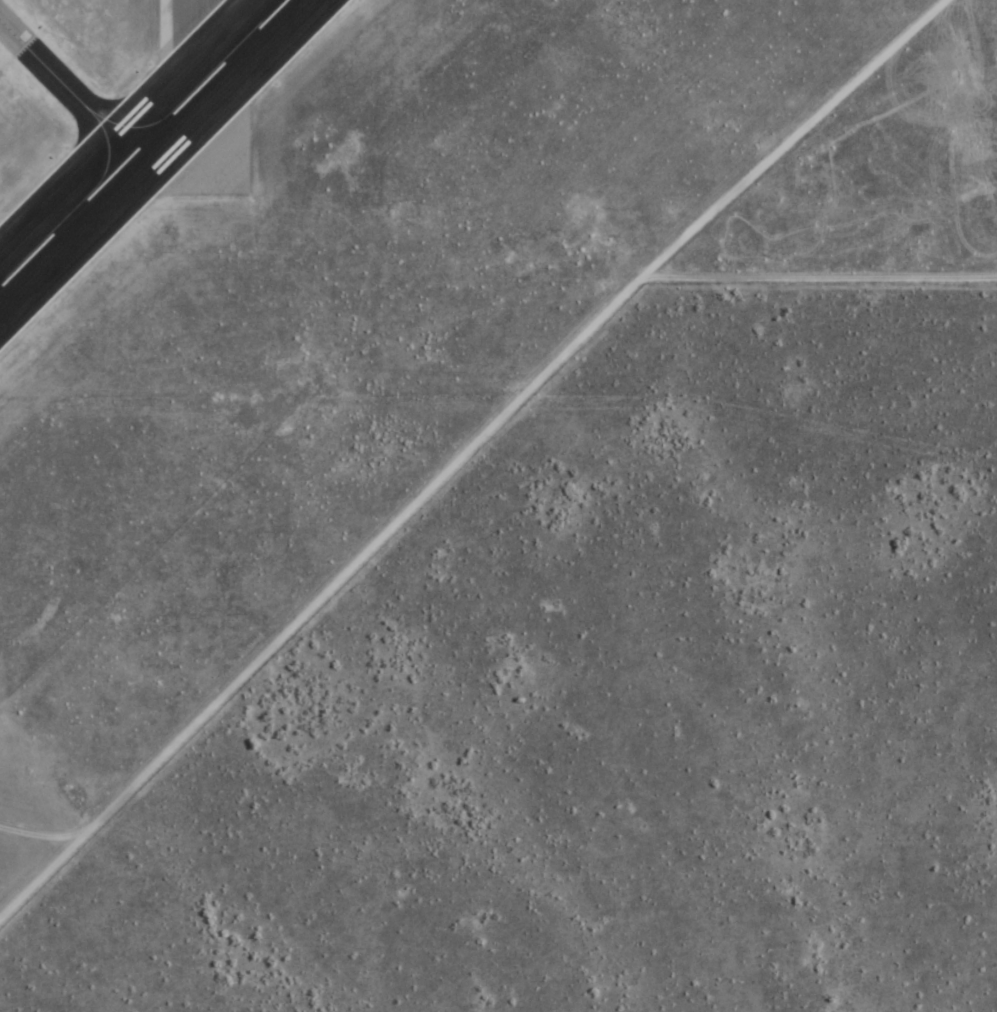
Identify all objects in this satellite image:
airport taxiway: (65, 87)
airport runway: (206, 97)
airport runway: (142, 143)
airport: (377, 294)
road: (465, 452)

